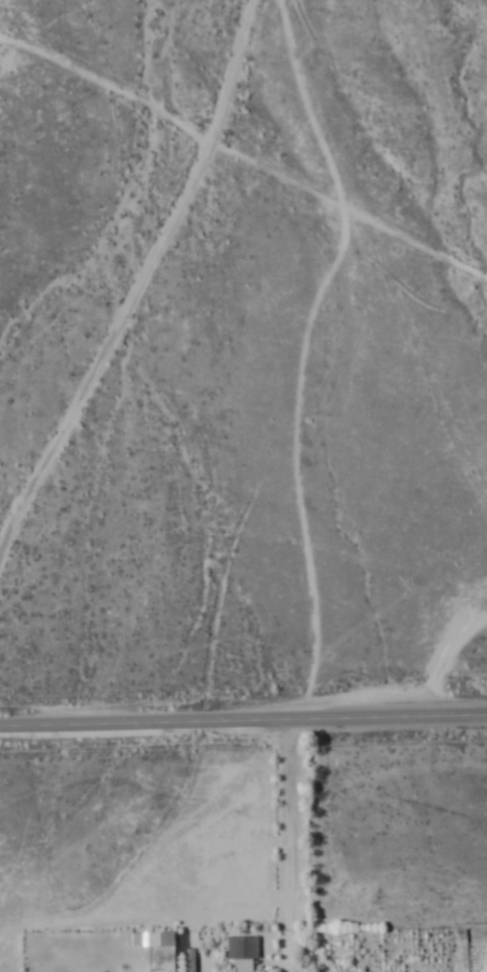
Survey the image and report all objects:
road: (136, 278)
road: (439, 653)
road: (243, 720)
road: (286, 845)
building: (152, 940)
building: (242, 952)
building: (167, 967)

